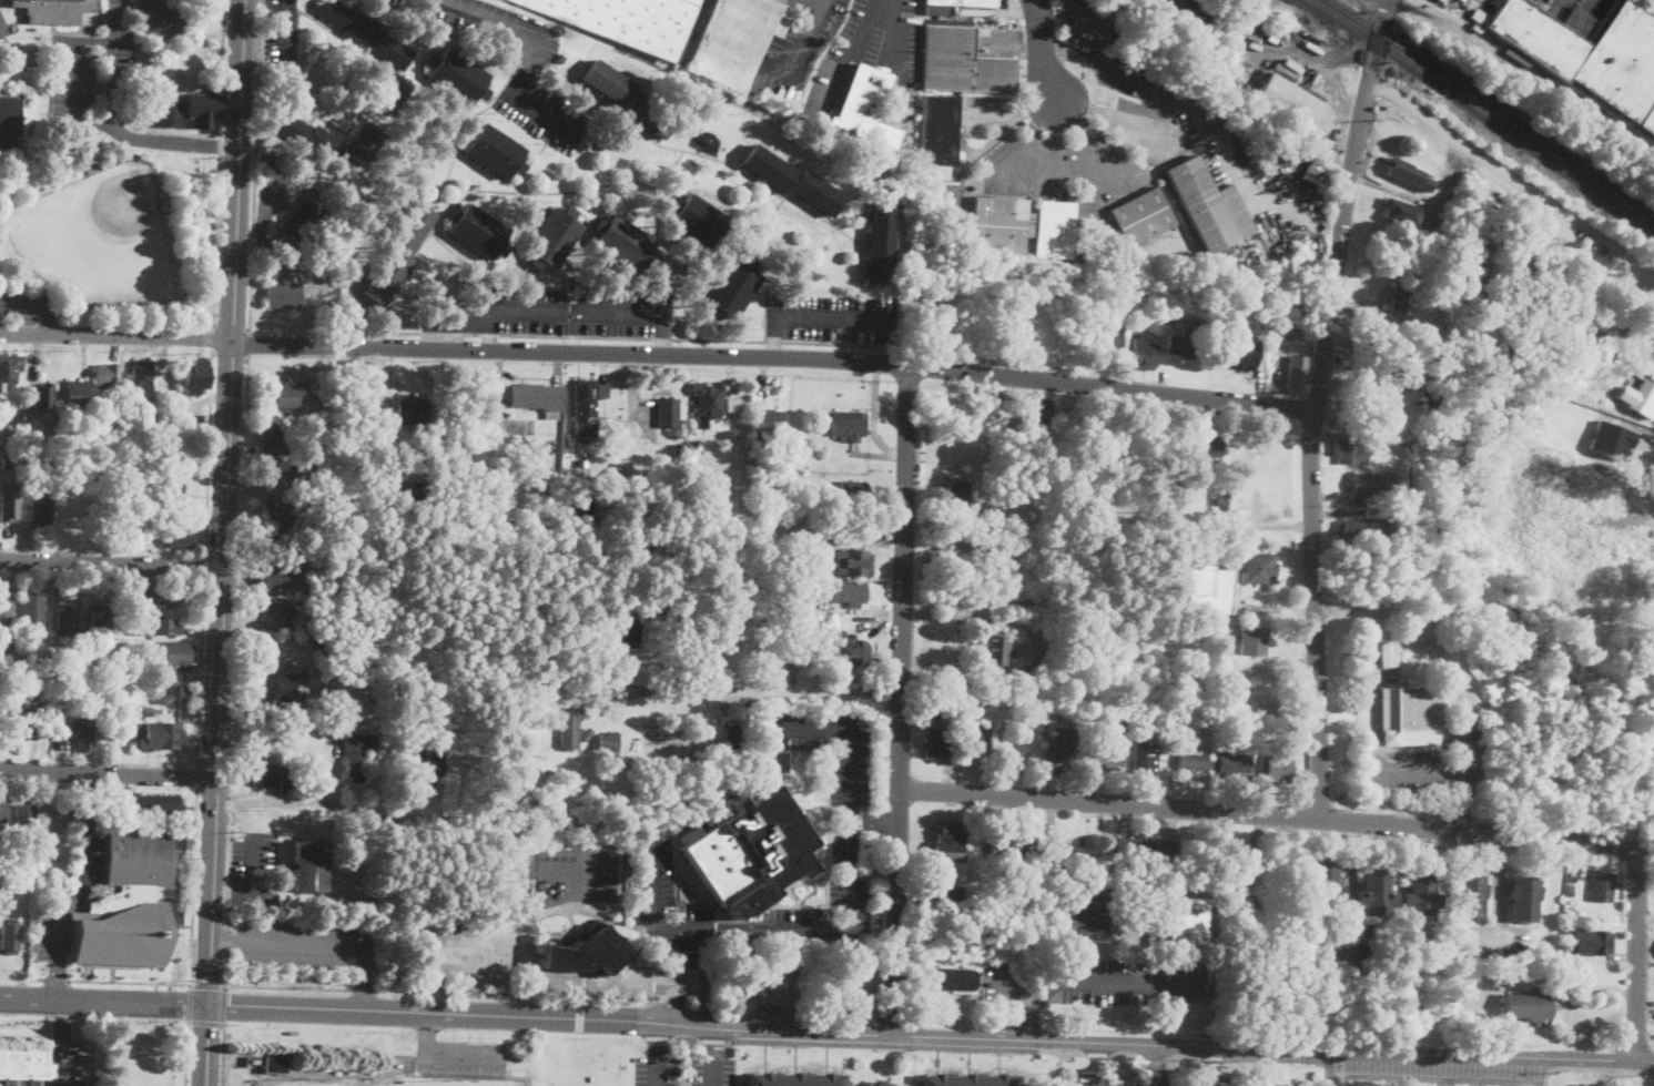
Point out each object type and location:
building: (1441, 0)
parking lot: (1486, 3)
building: (960, 4)
building: (54, 10)
road: (498, 17)
building: (626, 21)
building: (2, 28)
road: (287, 28)
parking lot: (1580, 28)
building: (364, 30)
road: (858, 33)
road: (803, 35)
building: (734, 39)
road: (895, 40)
road: (1044, 50)
building: (1590, 55)
building: (962, 62)
road: (1118, 72)
road: (527, 73)
building: (456, 75)
road: (73, 81)
road: (114, 83)
building: (395, 93)
building: (628, 99)
building: (1292, 104)
railway: (1494, 105)
building: (191, 111)
railway: (1484, 111)
building: (864, 112)
road: (547, 116)
road: (1119, 116)
building: (10, 121)
road: (1086, 131)
building: (938, 132)
road: (1028, 134)
building: (310, 136)
road: (1055, 138)
road: (194, 144)
building: (367, 144)
building: (494, 151)
building: (143, 156)
road: (216, 159)
park: (100, 163)
road: (253, 164)
building: (95, 169)
building: (1409, 173)
building: (1317, 175)
road: (1513, 176)
building: (792, 180)
building: (163, 201)
building: (1209, 205)
road: (265, 209)
building: (1402, 211)
building: (307, 214)
building: (1143, 216)
building: (700, 222)
building: (1001, 225)
building: (1055, 229)
building: (1486, 229)
building: (476, 231)
building: (552, 237)
park: (102, 240)
building: (625, 242)
building: (880, 242)
building: (398, 252)
building: (1076, 258)
building: (1090, 272)
building: (1137, 285)
building: (732, 288)
building: (284, 296)
building: (1400, 296)
road: (39, 302)
road: (568, 311)
road: (832, 321)
building: (1462, 323)
building: (1106, 329)
building: (1594, 329)
road: (489, 332)
road: (664, 334)
road: (26, 335)
road: (212, 337)
road: (619, 337)
road: (777, 338)
building: (1183, 339)
road: (247, 343)
road: (887, 343)
building: (1145, 354)
building: (1240, 354)
road: (683, 355)
building: (1401, 364)
building: (9, 374)
building: (1297, 374)
building: (106, 375)
building: (194, 376)
building: (142, 378)
building: (75, 395)
building: (42, 397)
building: (288, 397)
building: (538, 398)
building: (585, 398)
building: (1643, 399)
building: (1433, 402)
building: (733, 403)
building: (708, 404)
road: (377, 405)
road: (1316, 406)
building: (170, 407)
building: (1039, 410)
building: (414, 413)
building: (667, 413)
building: (14, 415)
building: (771, 420)
building: (848, 425)
building: (1379, 430)
building: (271, 434)
building: (1612, 438)
building: (1197, 445)
building: (696, 447)
building: (679, 449)
building: (1351, 451)
road: (209, 453)
building: (430, 458)
building: (7, 463)
building: (32, 465)
building: (761, 468)
building: (1400, 469)
building: (329, 470)
building: (301, 474)
building: (129, 478)
building: (333, 481)
building: (609, 481)
building: (1368, 484)
building: (853, 490)
building: (171, 491)
building: (958, 493)
building: (326, 499)
building: (1390, 499)
building: (413, 500)
building: (1220, 500)
road: (227, 501)
building: (819, 503)
building: (7, 504)
building: (993, 508)
building: (39, 510)
building: (332, 511)
road: (243, 517)
building: (280, 520)
building: (1360, 528)
building: (324, 530)
building: (134, 535)
building: (184, 538)
building: (853, 562)
road: (113, 565)
road: (204, 567)
building: (1260, 569)
road: (1236, 575)
building: (276, 577)
building: (1652, 578)
building: (389, 579)
building: (1208, 586)
building: (838, 592)
building: (158, 598)
building: (738, 599)
building: (33, 609)
building: (6, 610)
building: (278, 613)
building: (97, 619)
road: (1004, 620)
building: (65, 622)
building: (1064, 623)
building: (162, 626)
building: (629, 632)
building: (733, 632)
building: (1252, 641)
building: (852, 650)
building: (355, 651)
building: (175, 652)
building: (1388, 652)
building: (995, 654)
building: (105, 662)
road: (200, 671)
building: (1218, 671)
road: (943, 672)
road: (993, 674)
building: (278, 686)
road: (768, 691)
building: (172, 693)
road: (900, 699)
building: (375, 700)
building: (115, 710)
building: (376, 711)
building: (1095, 712)
building: (1407, 715)
building: (30, 717)
building: (1117, 717)
building: (570, 728)
building: (730, 728)
building: (444, 731)
building: (83, 732)
building: (588, 735)
building: (163, 737)
building: (733, 738)
building: (978, 740)
building: (610, 741)
building: (940, 741)
building: (1064, 745)
building: (356, 755)
building: (1108, 755)
road: (886, 757)
building: (1145, 759)
building: (779, 760)
building: (1190, 762)
building: (1232, 763)
road: (215, 764)
building: (430, 767)
building: (1278, 769)
road: (109, 772)
building: (262, 773)
road: (1445, 773)
road: (196, 777)
building: (527, 777)
building: (551, 777)
building: (559, 778)
road: (305, 801)
road: (231, 803)
road: (1467, 803)
road: (90, 804)
building: (153, 806)
building: (24, 812)
building: (2, 813)
building: (681, 818)
road: (875, 821)
road: (884, 823)
road: (1372, 823)
building: (948, 841)
building: (1013, 846)
building: (1068, 848)
building: (1147, 850)
building: (734, 861)
building: (1241, 862)
building: (308, 865)
building: (133, 867)
building: (1572, 879)
road: (253, 883)
road: (1500, 883)
building: (1325, 885)
road: (193, 886)
building: (1602, 886)
road: (882, 887)
building: (1571, 889)
building: (1376, 893)
building: (1421, 894)
building: (1470, 895)
building: (952, 896)
building: (1524, 897)
parking lot: (68, 900)
road: (73, 902)
road: (1645, 916)
building: (1086, 917)
building: (1185, 921)
road: (844, 928)
building: (1566, 930)
building: (11, 936)
building: (122, 936)
road: (227, 938)
road: (226, 940)
road: (308, 941)
parking lot: (304, 943)
building: (1594, 943)
road: (525, 944)
road: (486, 946)
building: (586, 952)
road: (997, 977)
road: (40, 980)
road: (57, 980)
road: (57, 980)
building: (751, 980)
building: (951, 980)
road: (129, 982)
road: (364, 982)
road: (569, 982)
road: (1130, 984)
road: (206, 985)
road: (270, 987)
road: (1018, 988)
building: (1564, 988)
road: (363, 991)
road: (437, 991)
road: (383, 992)
road: (104, 999)
road: (190, 1003)
road: (224, 1003)
road: (664, 1004)
building: (1526, 1005)
road: (1034, 1008)
road: (580, 1018)
road: (205, 1022)
road: (428, 1025)
road: (931, 1035)
road: (63, 1037)
road: (657, 1038)
road: (713, 1043)
road: (206, 1044)
road: (459, 1051)
road: (186, 1053)
road: (223, 1053)
parking lot: (459, 1056)
building: (24, 1063)
building: (274, 1063)
road: (481, 1063)
road: (1098, 1064)
road: (1155, 1065)
road: (1211, 1066)
road: (1594, 1069)
parking lot: (656, 1070)
road: (657, 1070)
parking lot: (712, 1070)
road: (712, 1072)
road: (509, 1076)
road: (1437, 1079)
road: (59, 1080)
building: (795, 1080)
building: (967, 1082)
road: (1327, 1082)
building: (14, 1083)
building: (38, 1083)
building: (0, 1084)
building: (74, 1085)
park: (263, 1085)

